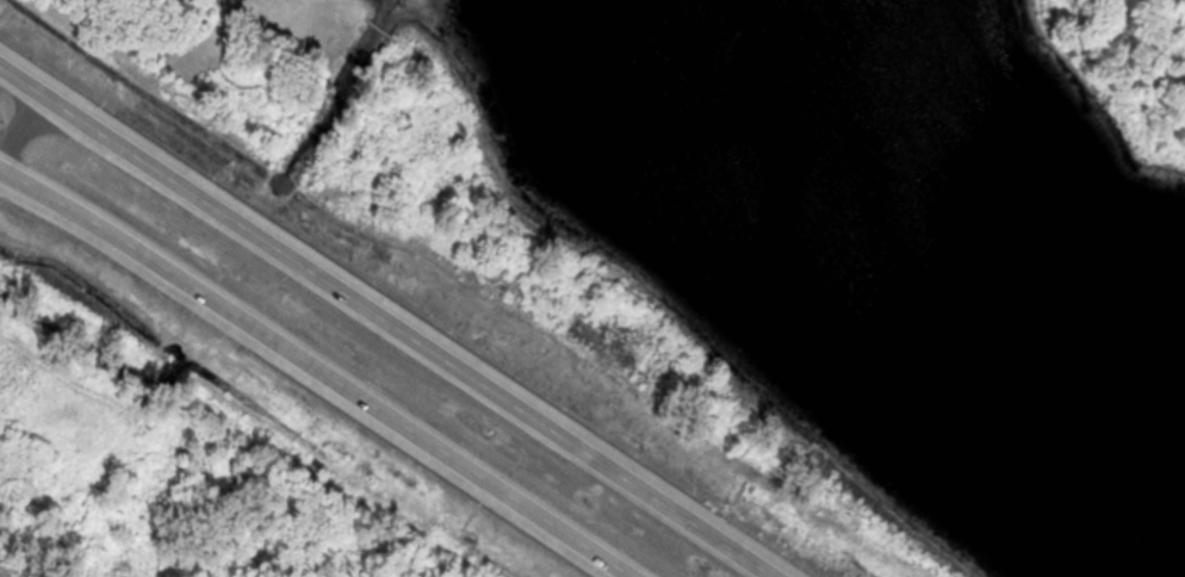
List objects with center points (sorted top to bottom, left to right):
road: (339, 7)
road: (379, 29)
road: (1096, 83)
park: (792, 228)
road: (656, 311)
road: (387, 321)
road: (311, 372)

